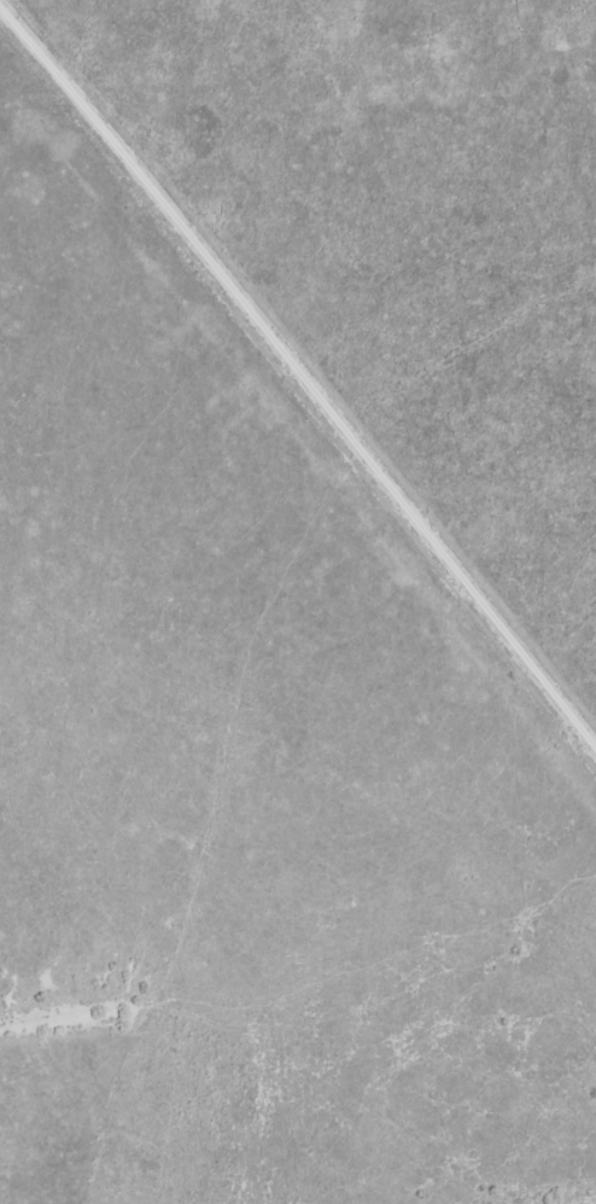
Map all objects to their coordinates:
road: (304, 391)

